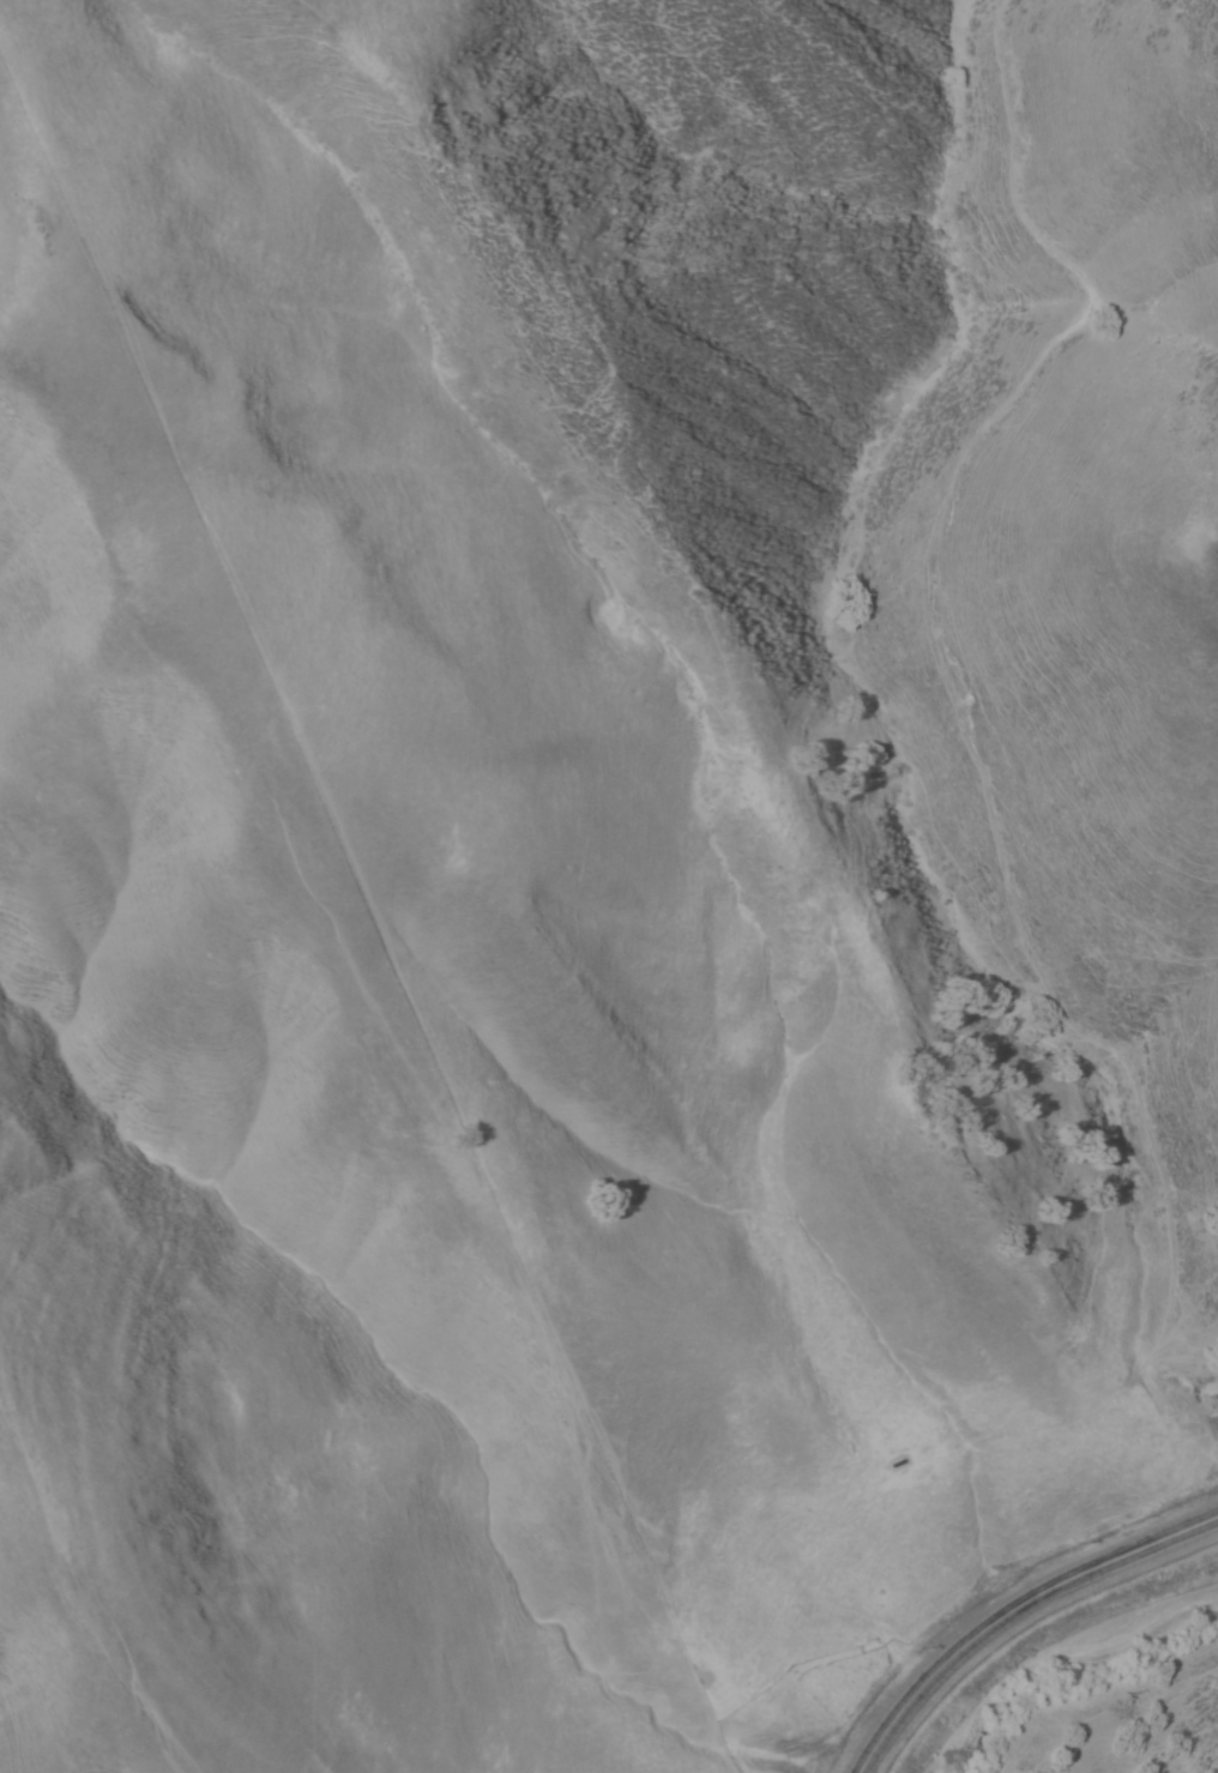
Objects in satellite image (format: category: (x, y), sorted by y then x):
road: (1012, 1610)

